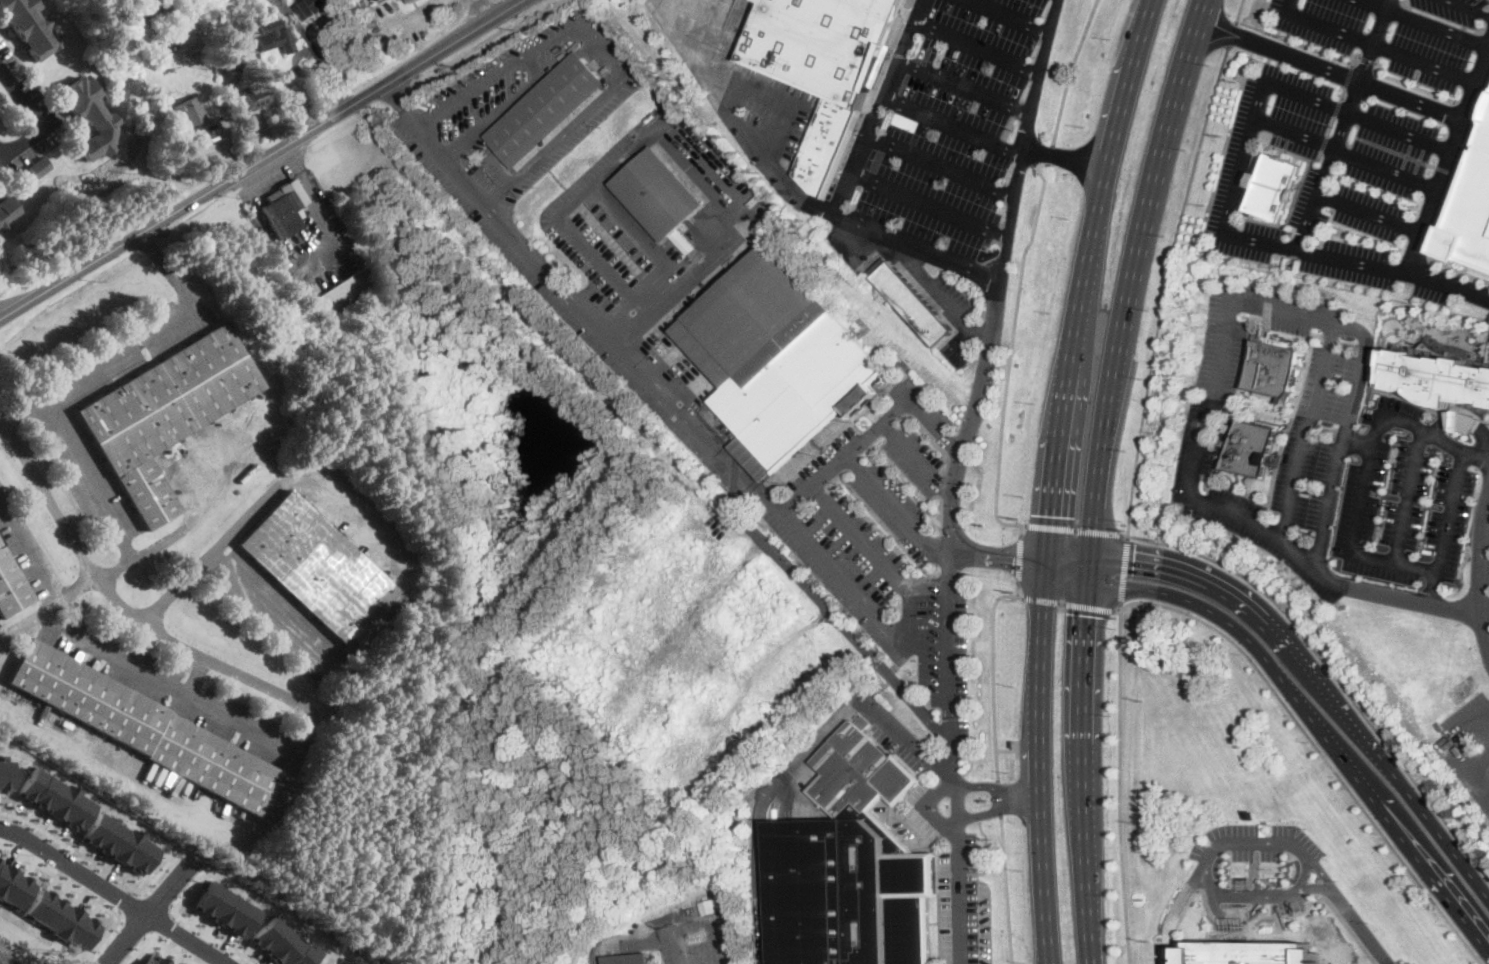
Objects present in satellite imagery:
building: (411, 1)
building: (314, 7)
building: (147, 8)
road: (1203, 9)
road: (1464, 9)
road: (1240, 10)
road: (1010, 16)
road: (1424, 24)
road: (581, 25)
building: (28, 27)
road: (1231, 30)
parking lot: (1403, 35)
building: (275, 37)
road: (1294, 41)
road: (979, 44)
road: (1375, 44)
road: (1353, 56)
road: (1367, 57)
building: (823, 68)
road: (1331, 70)
road: (1070, 71)
road: (1040, 73)
road: (1347, 74)
road: (966, 84)
road: (1127, 84)
road: (1409, 84)
building: (174, 86)
building: (800, 90)
parking lot: (490, 91)
road: (1341, 92)
building: (809, 94)
building: (245, 95)
road: (775, 97)
building: (256, 98)
road: (403, 103)
building: (0, 105)
building: (546, 109)
road: (33, 113)
building: (190, 113)
building: (649, 116)
building: (90, 118)
road: (578, 119)
road: (220, 122)
road: (742, 122)
road: (953, 122)
road: (1341, 124)
parking lot: (955, 125)
parking lot: (573, 132)
road: (630, 148)
road: (1243, 150)
road: (1345, 152)
road: (1050, 155)
road: (1064, 157)
road: (260, 158)
road: (940, 166)
building: (39, 168)
road: (1103, 180)
road: (1154, 183)
building: (1274, 188)
road: (845, 189)
building: (658, 194)
road: (314, 202)
road: (1433, 202)
road: (929, 203)
building: (1470, 207)
building: (284, 209)
building: (6, 212)
road: (1369, 213)
road: (582, 244)
parking lot: (850, 249)
road: (1086, 264)
road: (166, 268)
road: (1458, 269)
road: (1166, 286)
building: (299, 288)
road: (939, 292)
parking lot: (954, 293)
building: (340, 294)
building: (913, 304)
parking lot: (624, 305)
parking lot: (1275, 308)
road: (593, 325)
road: (119, 353)
building: (778, 360)
road: (1010, 361)
building: (1262, 369)
building: (1435, 376)
building: (251, 380)
parking lot: (1321, 384)
road: (979, 396)
parking lot: (1205, 398)
road: (1107, 408)
road: (21, 412)
road: (1384, 413)
building: (162, 415)
road: (1469, 420)
building: (1222, 428)
parking lot: (60, 433)
road: (1456, 446)
building: (1248, 448)
road: (1056, 449)
road: (919, 458)
road: (304, 476)
road: (1188, 494)
road: (100, 497)
parking lot: (1401, 502)
road: (1094, 506)
road: (896, 508)
parking lot: (1286, 508)
road: (190, 513)
traffic signals: (1049, 515)
road: (1360, 515)
road: (1323, 522)
road: (1078, 529)
road: (1484, 530)
road: (1446, 531)
parking lot: (894, 540)
road: (24, 544)
parking lot: (24, 546)
traffic signals: (1135, 549)
road: (1068, 553)
road: (1089, 554)
road: (1020, 559)
traffic signals: (1014, 560)
road: (832, 565)
road: (1124, 570)
building: (320, 571)
road: (1066, 571)
road: (1087, 572)
road: (1483, 572)
road: (235, 574)
road: (1477, 574)
building: (11, 587)
road: (69, 589)
road: (1018, 591)
road: (1385, 593)
road: (118, 602)
road: (1070, 604)
road: (1455, 606)
road: (1484, 607)
parking lot: (275, 613)
traffic signals: (1085, 614)
road: (24, 624)
road: (852, 634)
road: (1487, 646)
road: (127, 660)
road: (949, 670)
road: (1332, 672)
road: (993, 675)
road: (1320, 677)
parking lot: (175, 688)
road: (236, 718)
road: (1316, 725)
building: (150, 731)
road: (1455, 743)
parking lot: (1469, 745)
road: (1318, 748)
road: (1007, 751)
road: (796, 761)
road: (1039, 763)
road: (1482, 763)
road: (125, 771)
road: (1083, 772)
building: (4, 775)
road: (1119, 785)
road: (997, 786)
building: (54, 797)
road: (1001, 799)
road: (998, 811)
parking lot: (1257, 842)
building: (118, 843)
road: (1203, 858)
road: (95, 863)
building: (851, 866)
road: (1303, 873)
road: (958, 877)
building: (12, 887)
road: (1007, 890)
road: (114, 893)
parking lot: (1270, 893)
road: (86, 894)
road: (160, 897)
road: (126, 901)
parking lot: (965, 908)
building: (225, 909)
road: (147, 911)
road: (1232, 915)
building: (60, 919)
road: (1255, 919)
road: (699, 920)
road: (166, 923)
road: (191, 924)
road: (1359, 924)
road: (131, 928)
parking lot: (697, 933)
road: (146, 939)
building: (282, 944)
building: (1251, 946)
road: (141, 947)
road: (177, 950)
building: (628, 959)
building: (154, 960)

